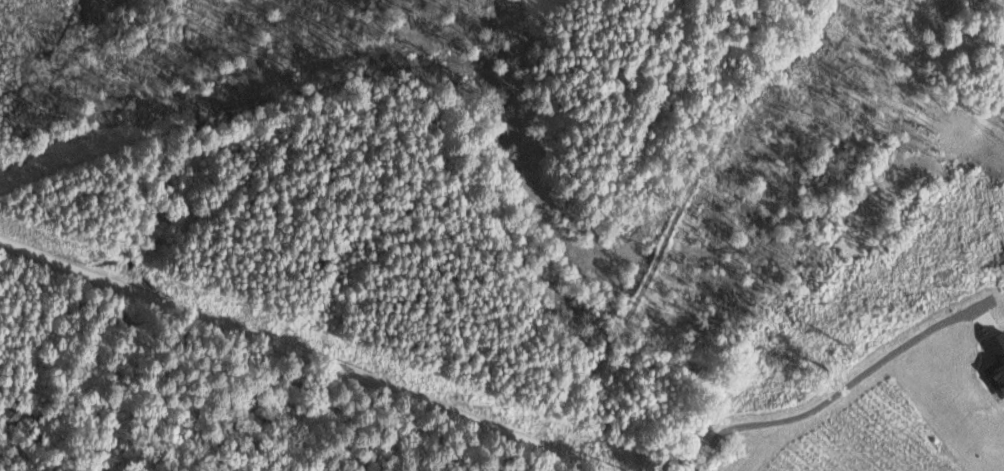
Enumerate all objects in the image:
road: (303, 354)
road: (839, 391)

